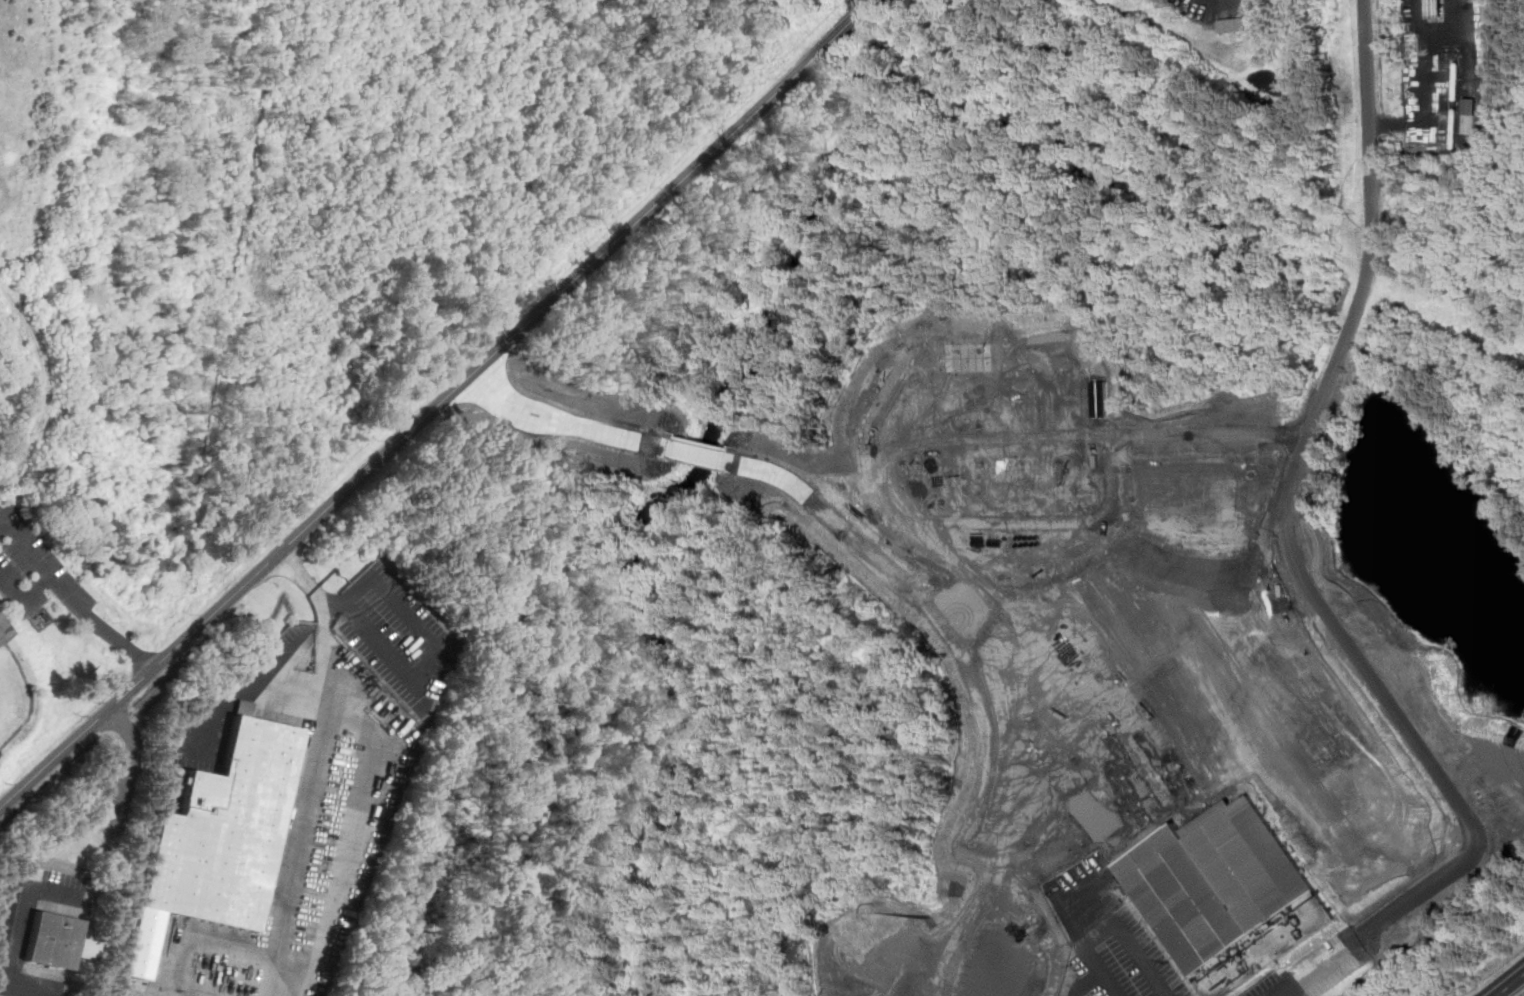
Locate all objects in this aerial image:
road: (860, 17)
building: (1235, 24)
road: (1369, 84)
building: (1471, 114)
road: (421, 422)
building: (1258, 431)
building: (1190, 489)
road: (82, 596)
building: (2, 631)
road: (428, 636)
road: (1450, 770)
road: (304, 822)
road: (352, 828)
building: (219, 838)
building: (1215, 881)
road: (1127, 940)
road: (19, 941)
building: (58, 941)
road: (1087, 942)
road: (1109, 983)
road: (1510, 985)

